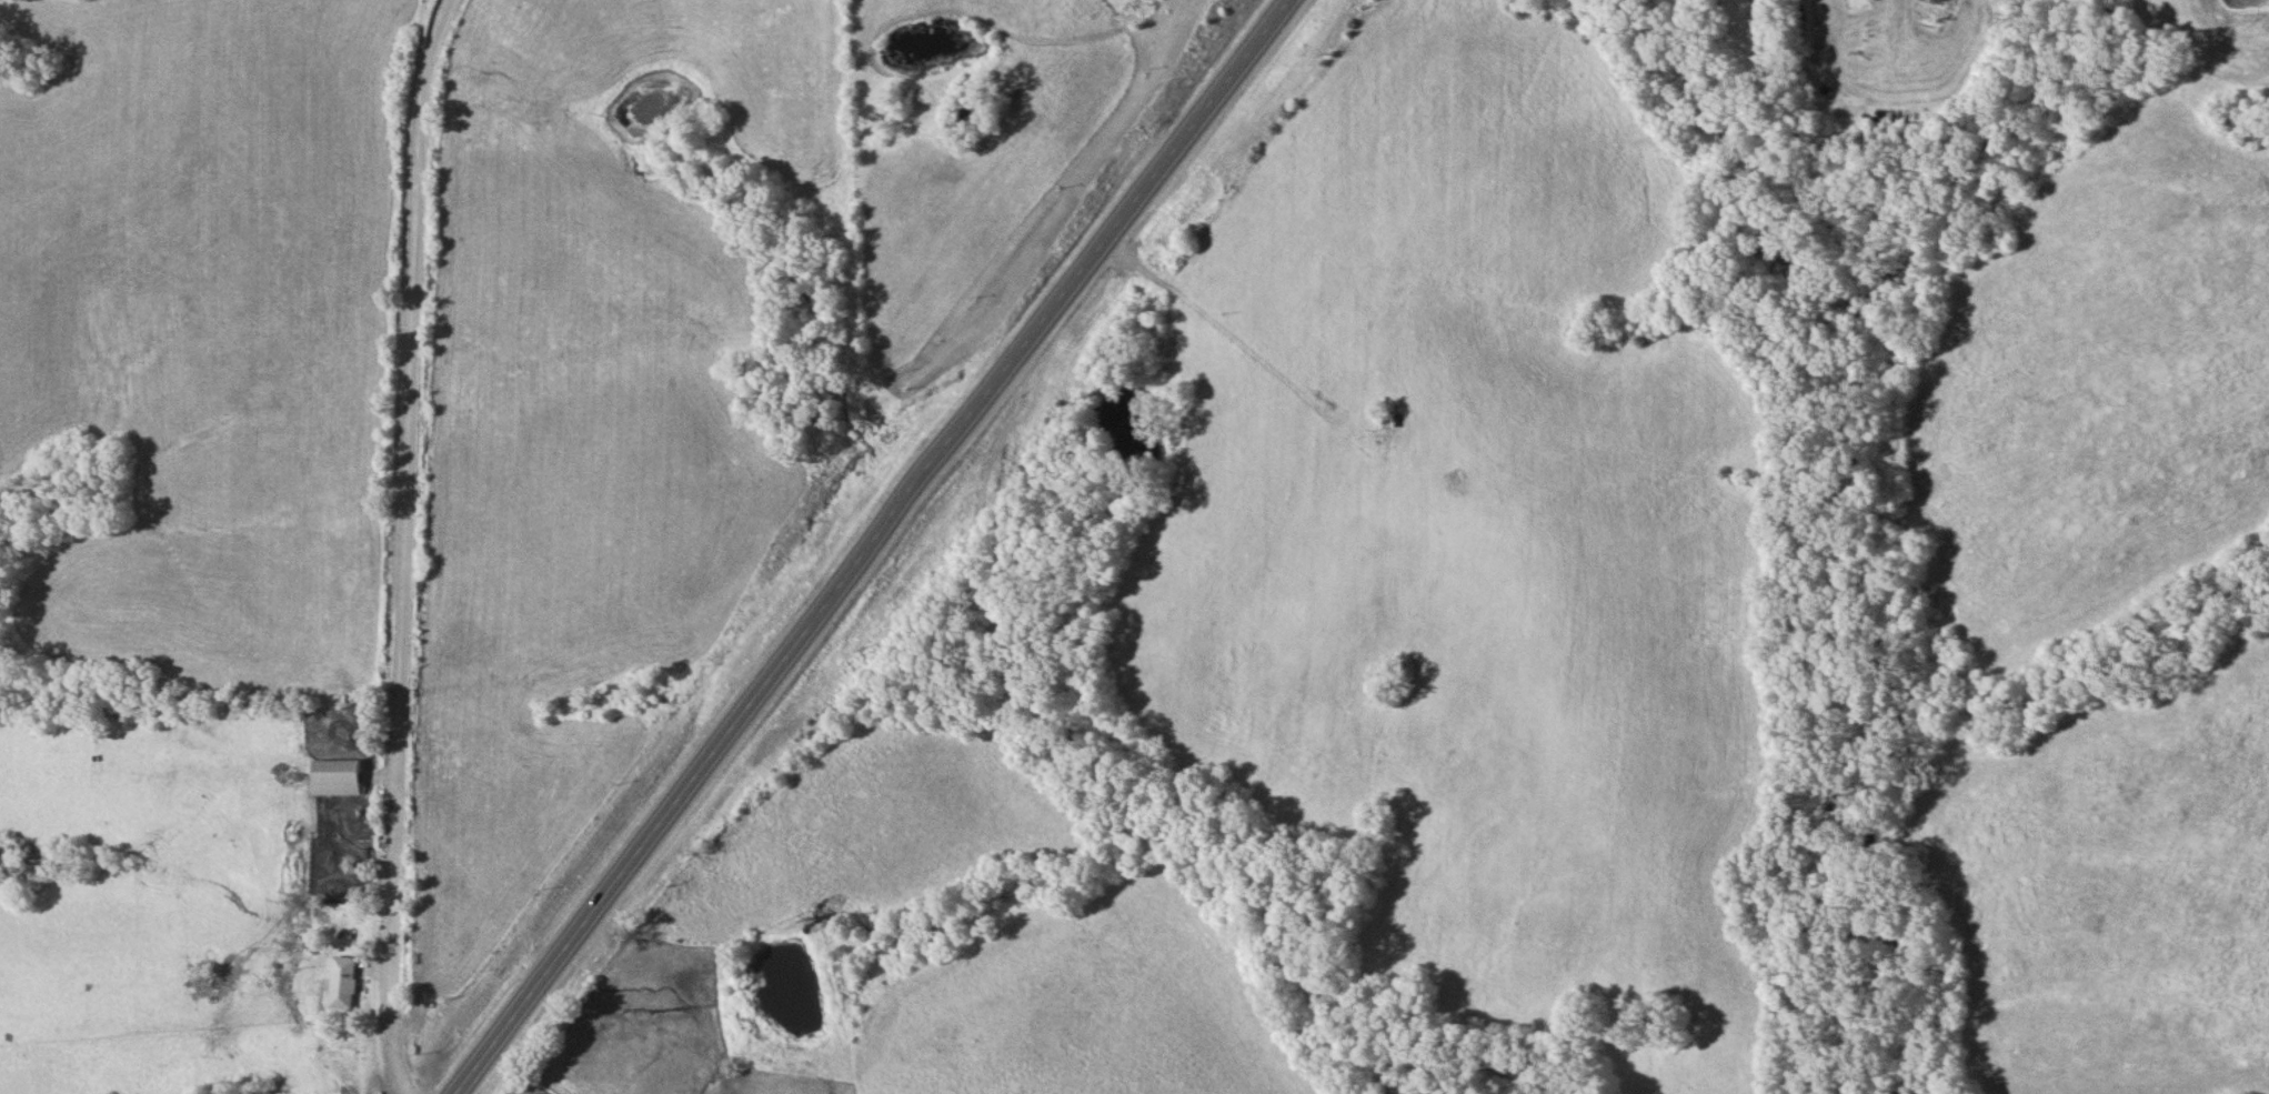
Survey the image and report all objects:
road: (408, 545)
road: (870, 546)
building: (335, 777)
building: (342, 982)

